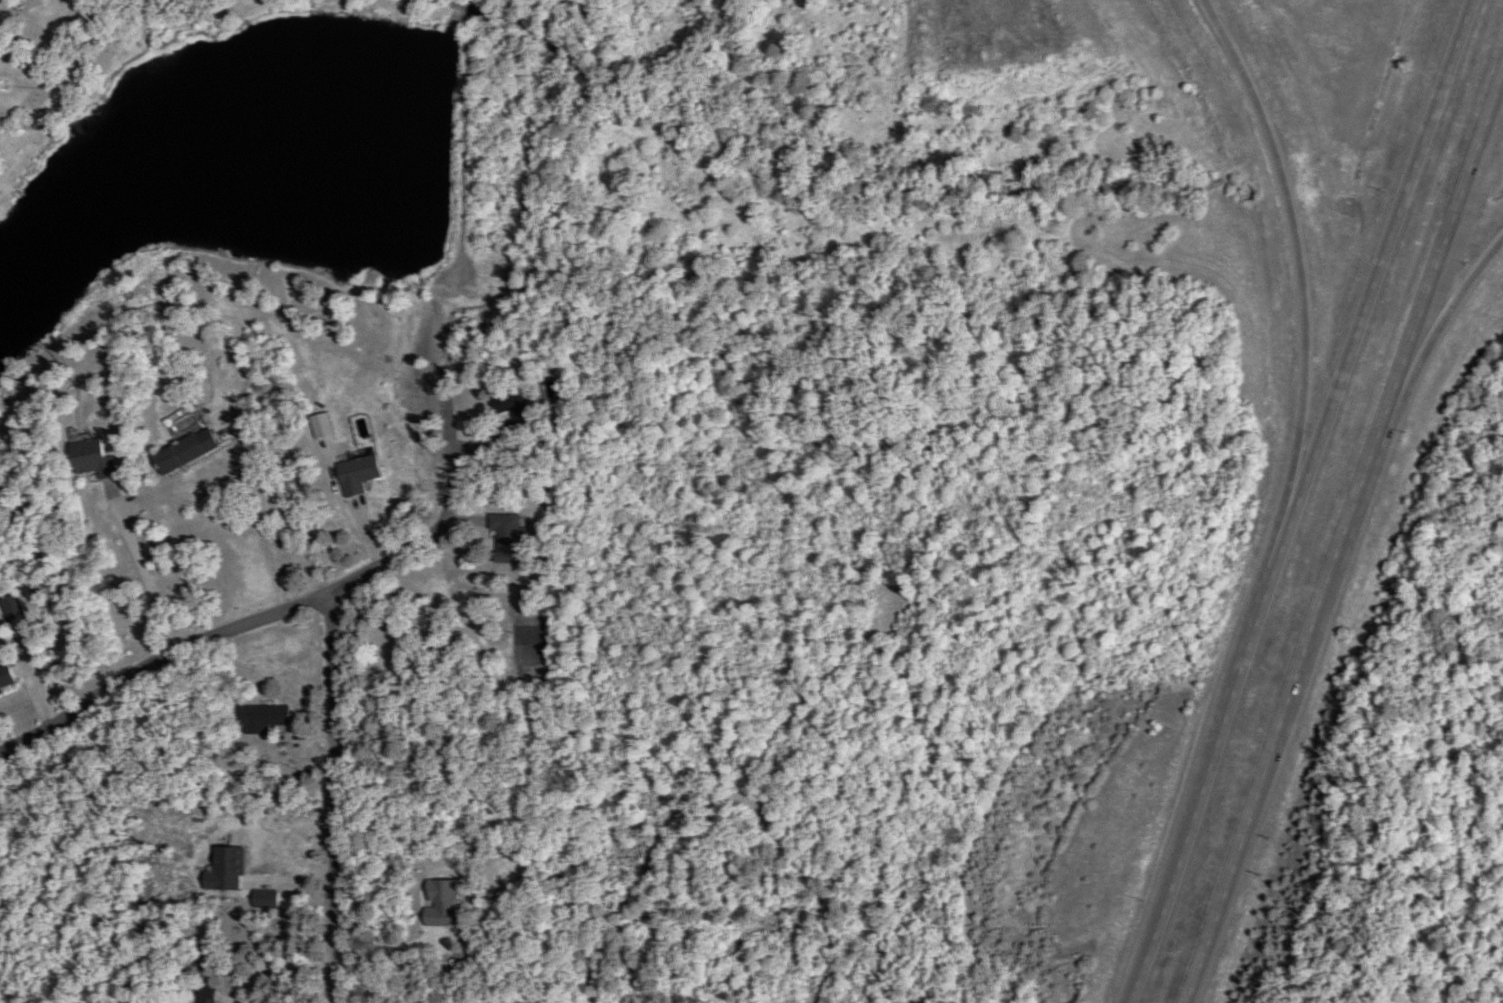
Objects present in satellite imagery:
building: (1343, 9)
road: (1298, 231)
road: (1453, 302)
building: (509, 411)
building: (182, 450)
building: (89, 458)
building: (355, 473)
road: (1295, 500)
road: (269, 517)
building: (504, 537)
road: (1344, 547)
road: (138, 570)
road: (318, 597)
building: (11, 608)
building: (4, 674)
road: (30, 689)
building: (0, 691)
building: (260, 717)
road: (332, 796)
road: (280, 970)
building: (203, 998)

